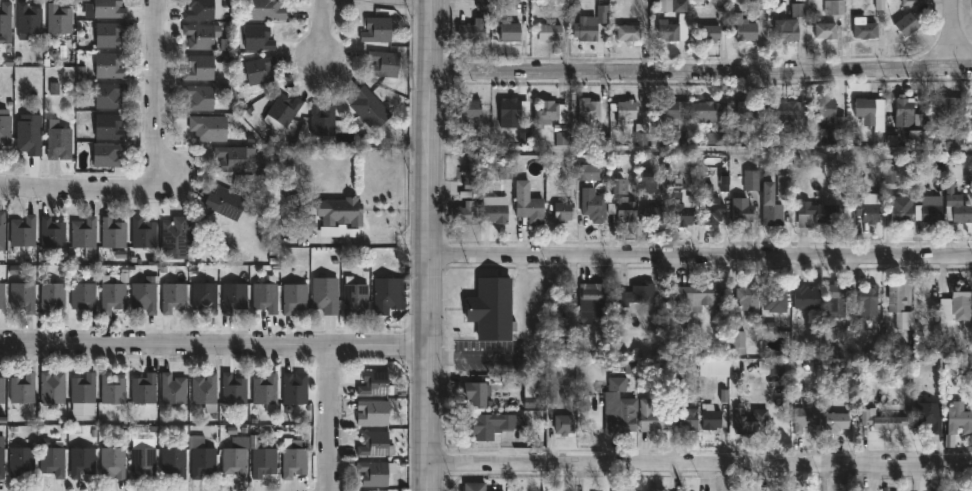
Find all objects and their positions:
road: (636, 2)
building: (835, 7)
building: (108, 9)
building: (199, 10)
building: (265, 10)
building: (28, 19)
building: (59, 19)
building: (6, 23)
building: (907, 25)
building: (588, 28)
building: (744, 28)
building: (512, 29)
building: (865, 29)
building: (377, 30)
building: (473, 30)
building: (788, 30)
building: (827, 30)
building: (672, 31)
building: (550, 32)
building: (630, 32)
building: (708, 33)
building: (109, 34)
road: (319, 34)
road: (950, 34)
building: (199, 36)
building: (258, 38)
building: (384, 63)
building: (110, 66)
building: (200, 69)
building: (260, 70)
road: (702, 74)
road: (158, 93)
building: (109, 95)
building: (199, 97)
building: (369, 108)
building: (826, 108)
building: (944, 108)
building: (471, 109)
building: (510, 109)
building: (667, 110)
building: (588, 111)
building: (627, 111)
building: (746, 111)
building: (282, 112)
building: (708, 112)
building: (971, 113)
building: (546, 114)
building: (907, 114)
building: (971, 115)
building: (870, 116)
building: (323, 120)
building: (786, 124)
building: (109, 127)
building: (209, 127)
building: (5, 128)
building: (29, 134)
building: (58, 142)
road: (703, 151)
building: (108, 155)
building: (236, 159)
building: (588, 170)
building: (752, 180)
building: (785, 186)
road: (79, 192)
building: (225, 203)
building: (593, 204)
building: (682, 205)
building: (771, 205)
building: (957, 205)
building: (711, 206)
building: (530, 208)
building: (626, 208)
building: (903, 208)
building: (932, 209)
building: (563, 210)
building: (743, 210)
building: (342, 211)
building: (868, 211)
building: (463, 212)
building: (495, 212)
building: (818, 213)
building: (651, 214)
building: (307, 216)
building: (2, 226)
building: (24, 230)
building: (52, 232)
building: (113, 232)
building: (143, 232)
building: (84, 235)
building: (176, 237)
road: (431, 245)
road: (701, 258)
building: (325, 293)
building: (700, 293)
building: (2, 294)
building: (111, 294)
building: (638, 294)
building: (145, 295)
building: (266, 295)
building: (834, 295)
building: (23, 296)
building: (52, 296)
building: (83, 296)
building: (204, 296)
building: (389, 296)
building: (748, 296)
building: (775, 296)
building: (807, 296)
building: (174, 297)
building: (234, 297)
building: (295, 297)
building: (355, 297)
building: (592, 298)
building: (869, 300)
building: (562, 301)
building: (961, 301)
building: (902, 306)
building: (492, 308)
road: (214, 346)
building: (375, 383)
building: (52, 386)
building: (22, 387)
building: (295, 387)
building: (112, 388)
building: (143, 388)
building: (173, 388)
building: (205, 388)
building: (1, 389)
building: (234, 389)
building: (266, 391)
building: (477, 392)
building: (83, 395)
building: (373, 412)
building: (618, 413)
building: (653, 416)
building: (930, 416)
building: (806, 417)
building: (686, 418)
building: (959, 418)
road: (333, 419)
building: (716, 419)
building: (752, 420)
building: (836, 421)
building: (884, 421)
building: (495, 424)
building: (564, 424)
building: (375, 443)
building: (2, 456)
building: (294, 457)
building: (143, 458)
building: (262, 458)
building: (112, 459)
building: (20, 460)
building: (53, 460)
building: (203, 460)
building: (82, 461)
building: (174, 461)
building: (235, 461)
road: (700, 468)
building: (375, 473)
building: (475, 486)
building: (917, 489)

